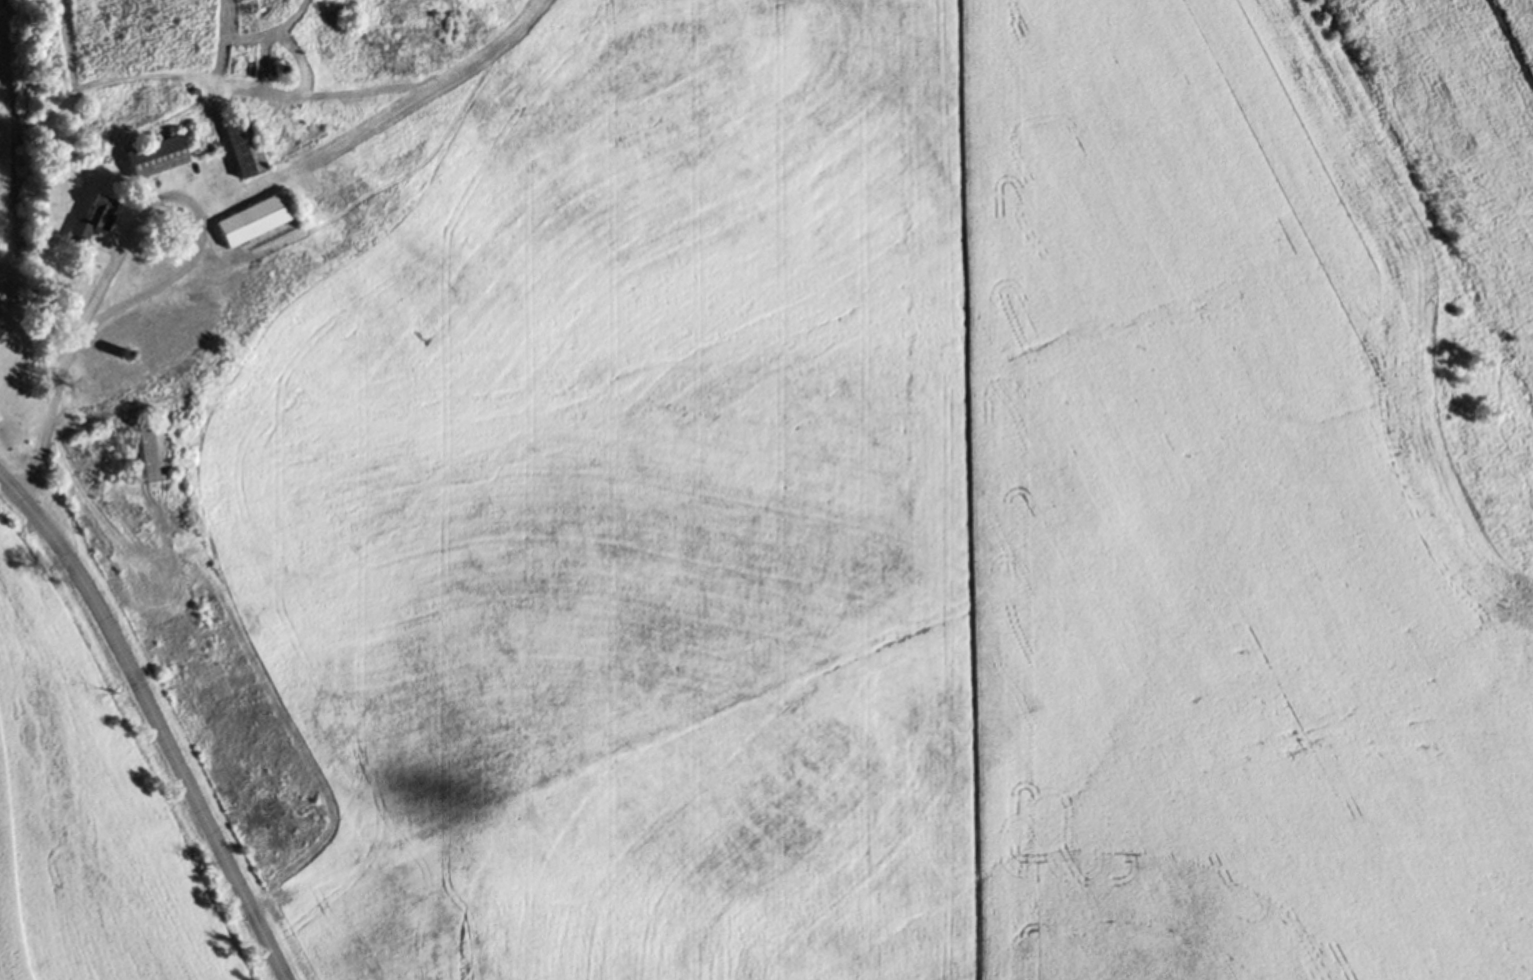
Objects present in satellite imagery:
crop: (12, 136)
building: (239, 143)
building: (204, 147)
building: (205, 151)
building: (152, 153)
building: (89, 216)
building: (252, 216)
road: (129, 243)
building: (1, 329)
building: (1, 333)
building: (153, 339)
building: (137, 451)
crop: (901, 521)
road: (155, 720)
crop: (87, 813)

